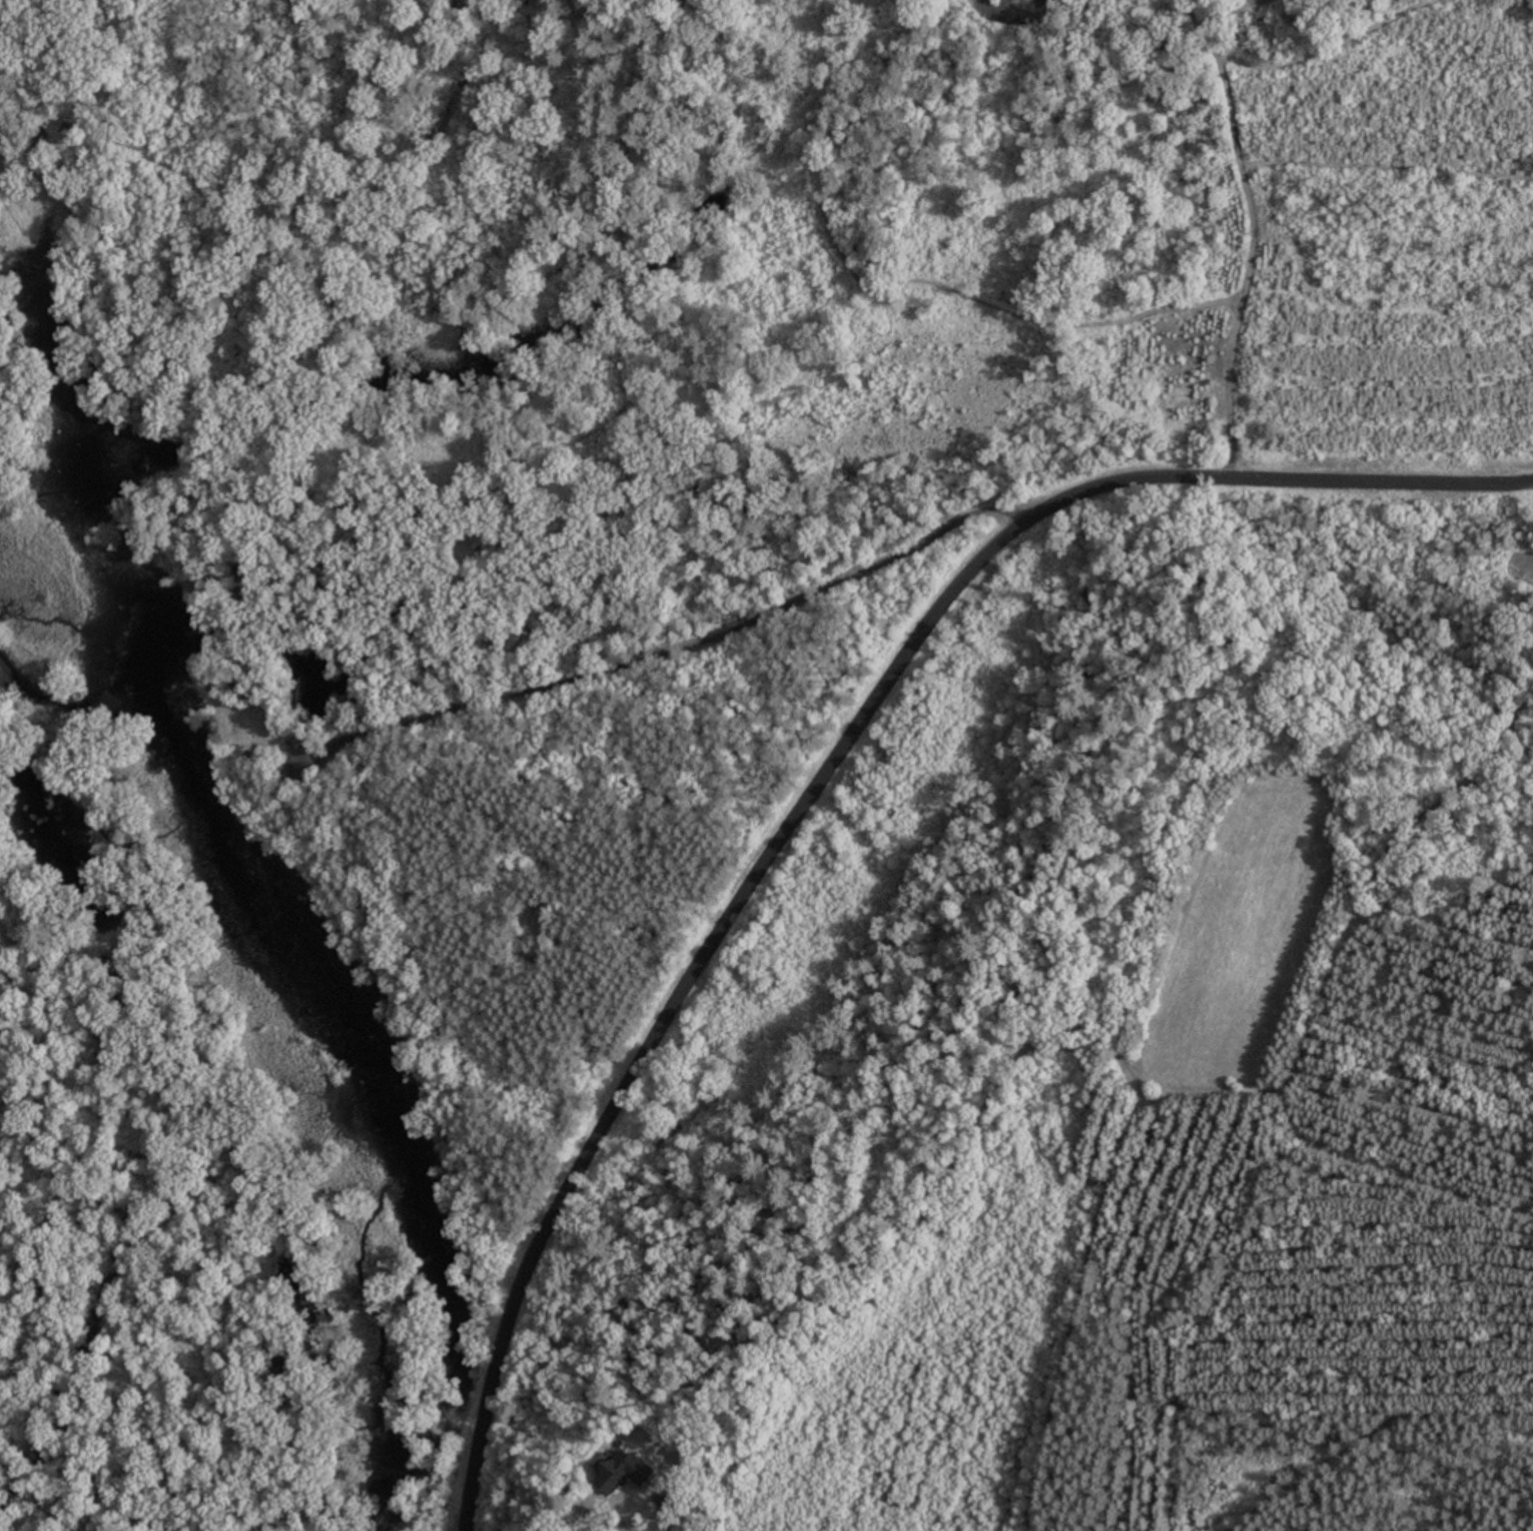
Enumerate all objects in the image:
road: (840, 790)
building: (617, 1474)
road: (670, 1481)

